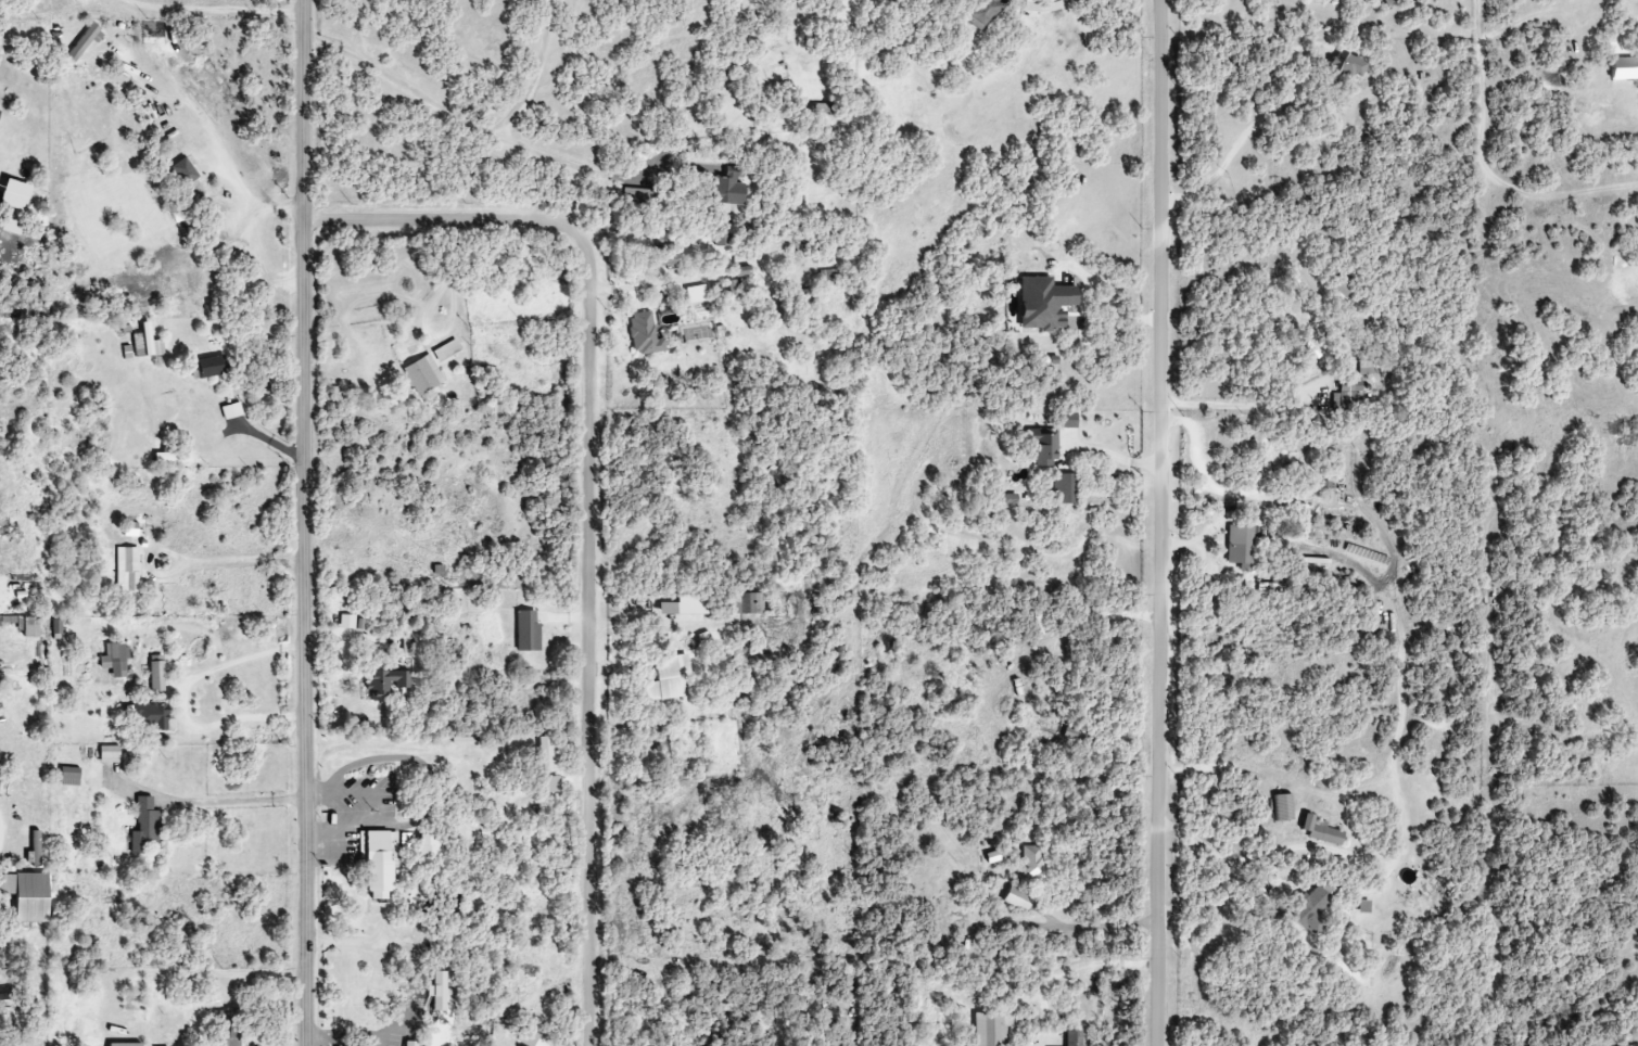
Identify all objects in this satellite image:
road: (1045, 5)
road: (217, 10)
building: (982, 13)
building: (82, 43)
building: (1348, 66)
road: (537, 74)
building: (818, 109)
road: (471, 126)
road: (212, 131)
road: (1243, 136)
building: (183, 171)
building: (728, 188)
building: (722, 240)
building: (666, 256)
building: (742, 271)
road: (645, 284)
building: (1344, 286)
building: (732, 289)
building: (695, 294)
building: (1042, 304)
road: (452, 314)
building: (644, 334)
building: (445, 352)
building: (209, 367)
building: (422, 375)
building: (1347, 396)
road: (1234, 403)
building: (231, 411)
building: (1067, 420)
building: (1043, 447)
building: (1266, 454)
road: (1113, 457)
building: (173, 458)
road: (1197, 463)
building: (1062, 488)
building: (1007, 498)
road: (591, 500)
road: (307, 522)
road: (1161, 522)
building: (1240, 546)
road: (204, 561)
building: (127, 570)
building: (745, 603)
building: (685, 605)
building: (1040, 624)
building: (22, 625)
building: (56, 628)
building: (526, 630)
building: (114, 660)
building: (155, 673)
building: (668, 678)
building: (386, 683)
road: (186, 702)
building: (149, 716)
building: (1077, 736)
building: (109, 754)
building: (544, 754)
building: (68, 776)
road: (339, 794)
road: (228, 798)
building: (144, 827)
road: (361, 829)
building: (1320, 831)
building: (404, 840)
road: (1311, 847)
building: (378, 863)
building: (1032, 863)
road: (1224, 868)
building: (27, 895)
building: (1017, 898)
building: (1309, 909)
road: (1107, 928)
road: (1084, 964)
building: (190, 992)
building: (988, 1029)
road: (320, 1036)
road: (356, 1036)
building: (228, 1037)
building: (1074, 1038)
road: (332, 1041)
building: (125, 1044)

